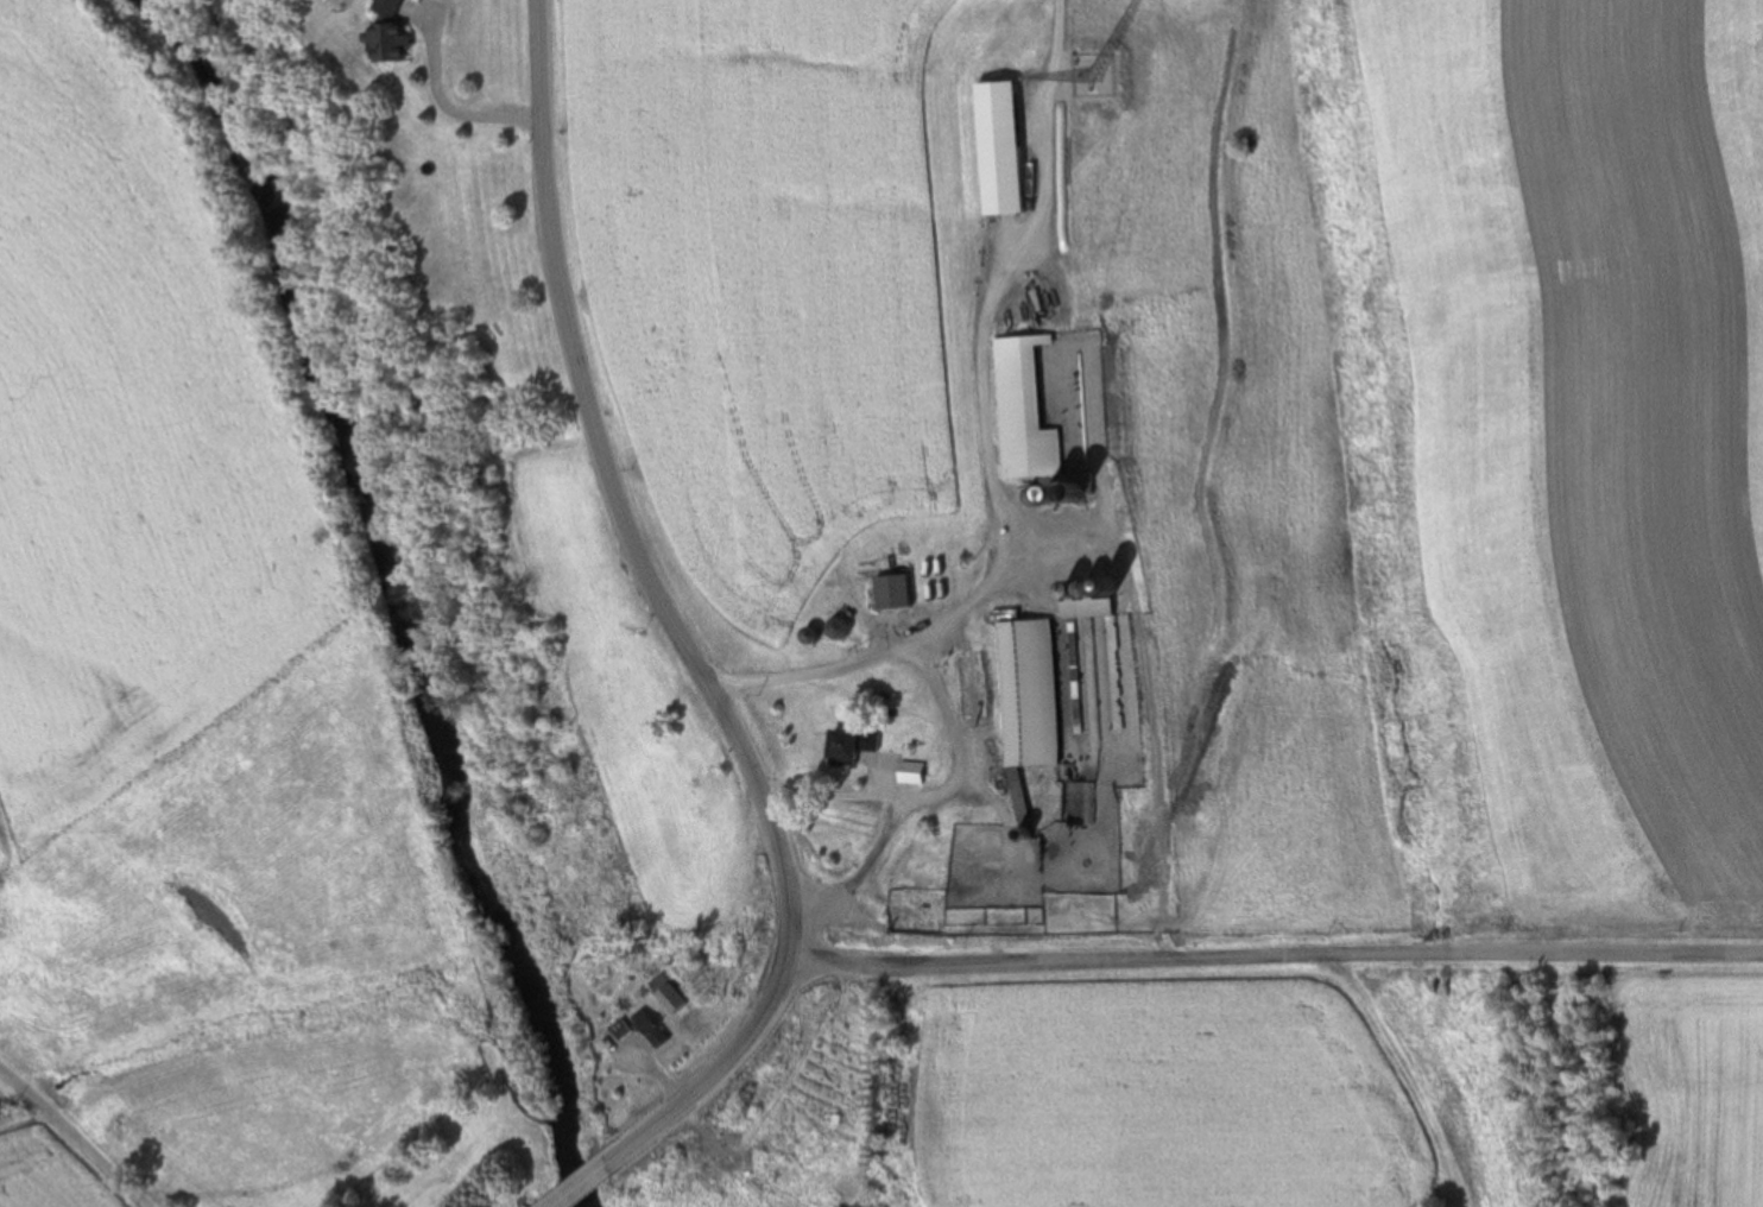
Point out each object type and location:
building: (385, 34)
road: (446, 113)
building: (998, 151)
road: (977, 342)
building: (1023, 410)
road: (611, 498)
river: (364, 556)
building: (891, 590)
building: (1116, 675)
building: (1076, 680)
building: (973, 685)
road: (944, 719)
building: (1035, 726)
building: (848, 746)
building: (910, 772)
road: (1276, 955)
building: (670, 998)
building: (649, 1029)
building: (618, 1030)
road: (709, 1076)
road: (75, 1138)
river: (549, 1170)
road: (571, 1184)

